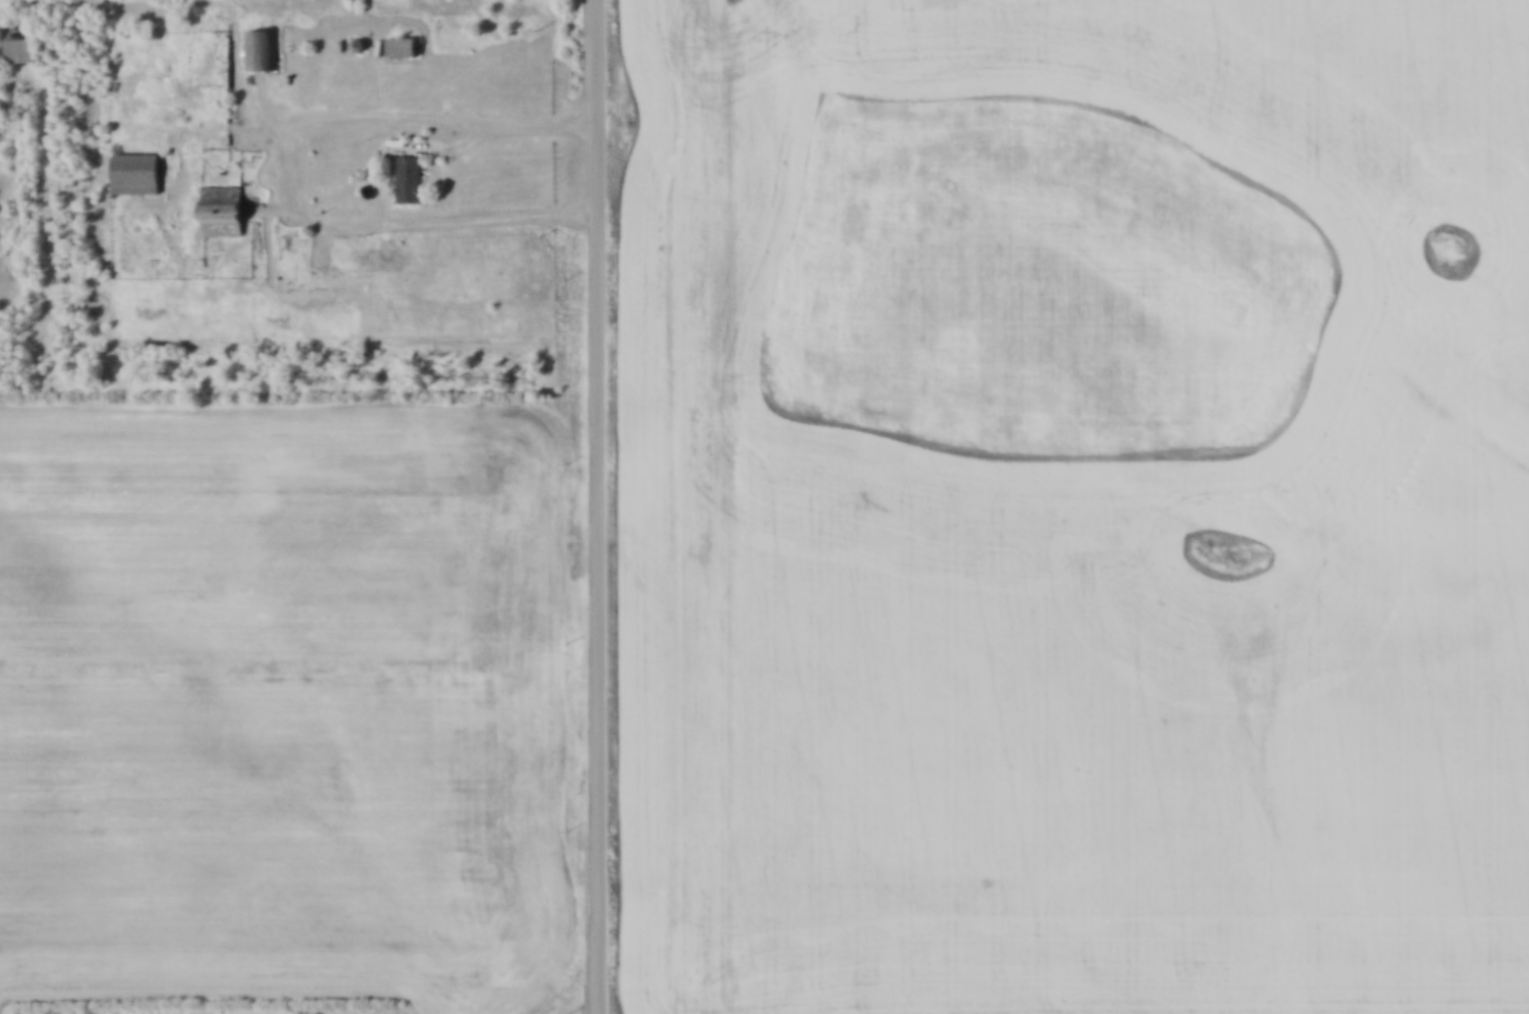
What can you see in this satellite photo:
building: (15, 38)
building: (352, 38)
silo: (352, 38)
building: (396, 40)
building: (255, 43)
building: (401, 50)
building: (131, 167)
road: (298, 168)
building: (404, 172)
building: (218, 206)
building: (296, 225)
building: (6, 267)
road: (600, 506)

